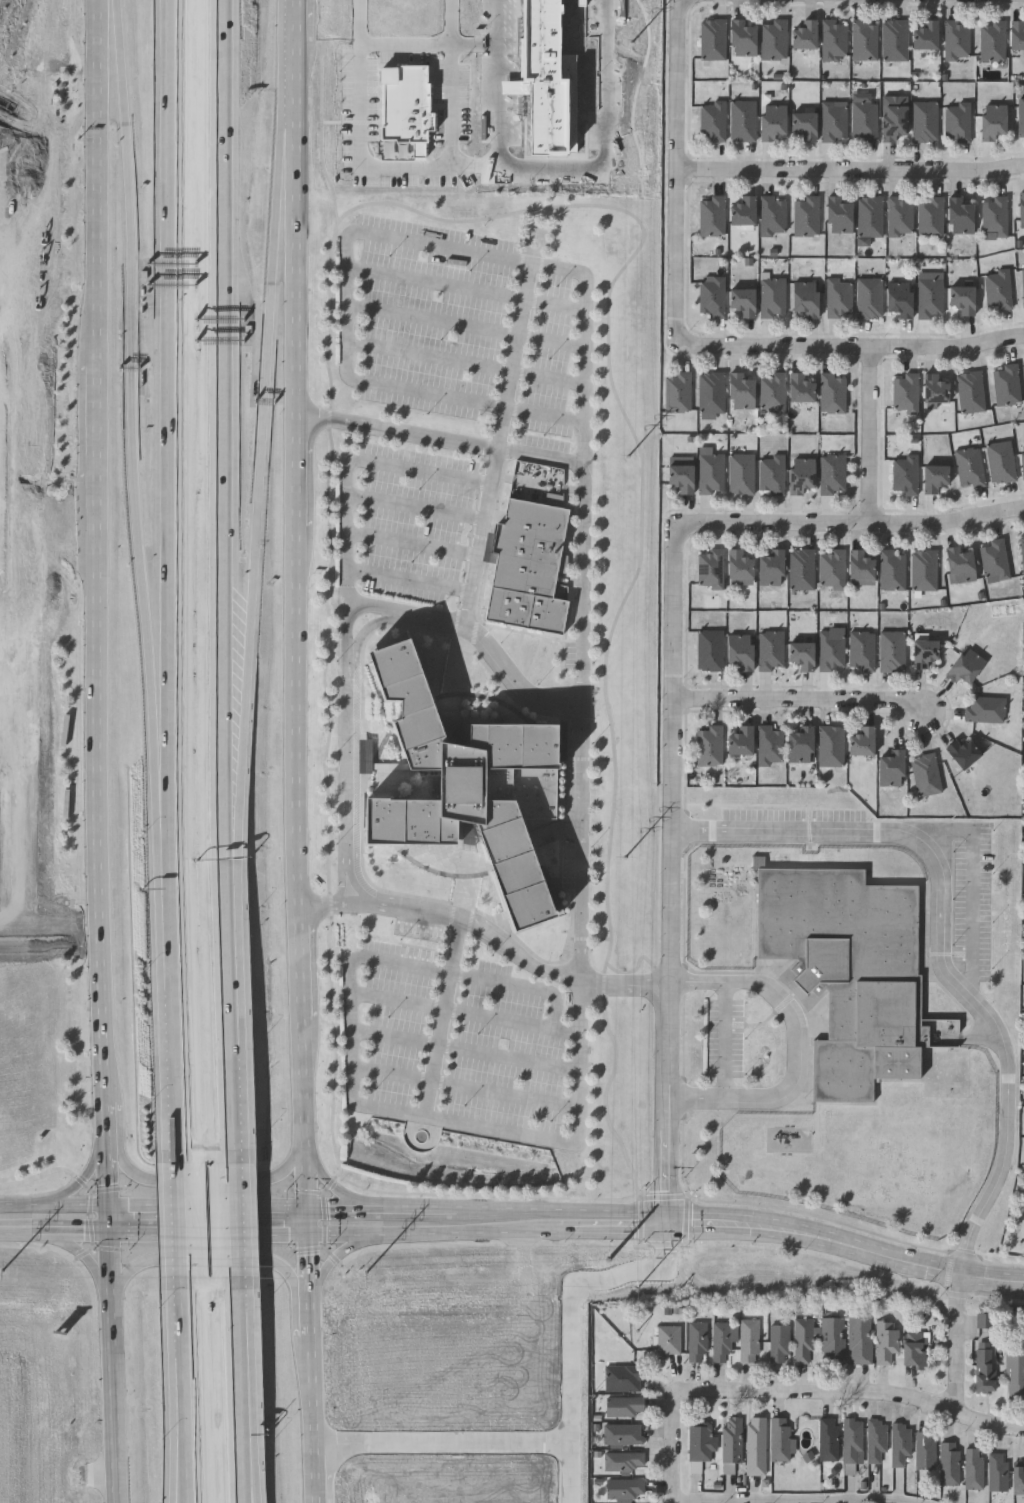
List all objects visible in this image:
building: (804, 34)
building: (1016, 34)
building: (925, 35)
building: (742, 38)
building: (712, 39)
building: (773, 40)
building: (833, 40)
building: (864, 40)
building: (894, 40)
building: (957, 40)
building: (992, 40)
power tower: (631, 44)
road: (451, 52)
building: (548, 80)
road: (449, 88)
building: (407, 106)
road: (495, 115)
building: (1021, 116)
building: (712, 120)
building: (742, 120)
building: (772, 121)
building: (833, 121)
building: (863, 121)
building: (924, 121)
building: (991, 121)
building: (893, 122)
building: (957, 122)
building: (804, 125)
road: (678, 170)
road: (851, 170)
road: (481, 177)
building: (1023, 206)
building: (743, 211)
building: (837, 215)
building: (712, 216)
building: (773, 216)
building: (806, 216)
building: (870, 216)
building: (899, 216)
building: (960, 216)
building: (997, 216)
building: (929, 217)
building: (1023, 286)
road: (467, 287)
building: (998, 289)
road: (347, 291)
building: (712, 297)
building: (772, 297)
building: (805, 298)
building: (839, 298)
building: (869, 298)
building: (899, 298)
building: (929, 298)
building: (961, 299)
building: (742, 301)
road: (467, 324)
road: (49, 325)
road: (853, 346)
road: (48, 350)
road: (468, 361)
building: (1006, 385)
building: (799, 387)
building: (934, 388)
building: (971, 391)
building: (677, 392)
building: (711, 392)
building: (740, 392)
building: (772, 392)
building: (833, 392)
building: (905, 392)
road: (548, 412)
road: (136, 423)
road: (169, 423)
road: (229, 434)
road: (502, 434)
road: (871, 436)
road: (441, 439)
power tower: (627, 458)
building: (1022, 460)
road: (263, 462)
building: (1000, 462)
building: (969, 467)
building: (710, 472)
building: (741, 474)
building: (832, 474)
building: (904, 474)
building: (771, 475)
building: (800, 475)
building: (934, 477)
building: (680, 478)
road: (417, 508)
road: (850, 525)
road: (414, 545)
road: (97, 546)
building: (1023, 555)
building: (994, 560)
building: (527, 564)
building: (959, 564)
building: (710, 568)
building: (738, 568)
building: (770, 568)
building: (860, 568)
building: (801, 569)
building: (831, 569)
building: (892, 570)
building: (924, 570)
road: (411, 582)
road: (350, 589)
road: (585, 601)
road: (9, 607)
road: (371, 626)
road: (479, 633)
building: (709, 650)
building: (739, 650)
building: (770, 650)
building: (861, 650)
building: (830, 651)
building: (891, 651)
building: (923, 652)
building: (801, 655)
building: (966, 666)
road: (17, 669)
road: (802, 700)
building: (984, 708)
building: (740, 741)
building: (861, 741)
building: (800, 744)
building: (769, 745)
building: (709, 746)
building: (830, 746)
road: (296, 751)
building: (962, 753)
building: (890, 768)
road: (8, 769)
building: (925, 774)
building: (471, 783)
power tower: (627, 857)
road: (672, 873)
road: (358, 884)
road: (343, 885)
road: (974, 891)
road: (7, 924)
road: (487, 932)
road: (945, 942)
building: (848, 971)
road: (699, 979)
road: (521, 985)
road: (170, 1005)
road: (467, 1013)
road: (232, 1015)
road: (443, 1028)
road: (726, 1038)
road: (798, 1045)
road: (467, 1048)
road: (467, 1088)
road: (698, 1098)
road: (426, 1118)
road: (109, 1127)
road: (90, 1170)
road: (329, 1178)
road: (194, 1179)
road: (110, 1183)
building: (1023, 1202)
traffic signals: (110, 1204)
road: (299, 1205)
traffic signals: (312, 1206)
road: (634, 1211)
road: (175, 1221)
road: (236, 1221)
traffic signals: (669, 1221)
traffic signals: (111, 1232)
traffic signals: (312, 1232)
road: (334, 1232)
road: (847, 1244)
road: (78, 1253)
road: (338, 1254)
road: (218, 1261)
power tower: (611, 1263)
power tower: (367, 1272)
power tower: (2, 1274)
building: (986, 1321)
road: (571, 1327)
building: (668, 1339)
building: (748, 1340)
building: (803, 1340)
building: (832, 1340)
building: (860, 1340)
building: (697, 1341)
building: (721, 1342)
building: (885, 1342)
building: (779, 1343)
road: (960, 1344)
building: (913, 1349)
road: (114, 1353)
building: (984, 1367)
building: (1015, 1374)
road: (242, 1378)
building: (622, 1378)
road: (179, 1391)
road: (862, 1391)
building: (624, 1406)
building: (623, 1434)
building: (731, 1439)
building: (779, 1439)
building: (827, 1439)
building: (875, 1439)
building: (852, 1440)
road: (443, 1441)
road: (676, 1441)
building: (700, 1442)
building: (900, 1443)
building: (756, 1446)
building: (924, 1450)
building: (623, 1460)
building: (949, 1463)
building: (974, 1468)
building: (997, 1472)
road: (77, 1477)
building: (1017, 1478)
road: (247, 1489)
road: (249, 1489)
building: (624, 1489)
road: (800, 1499)

